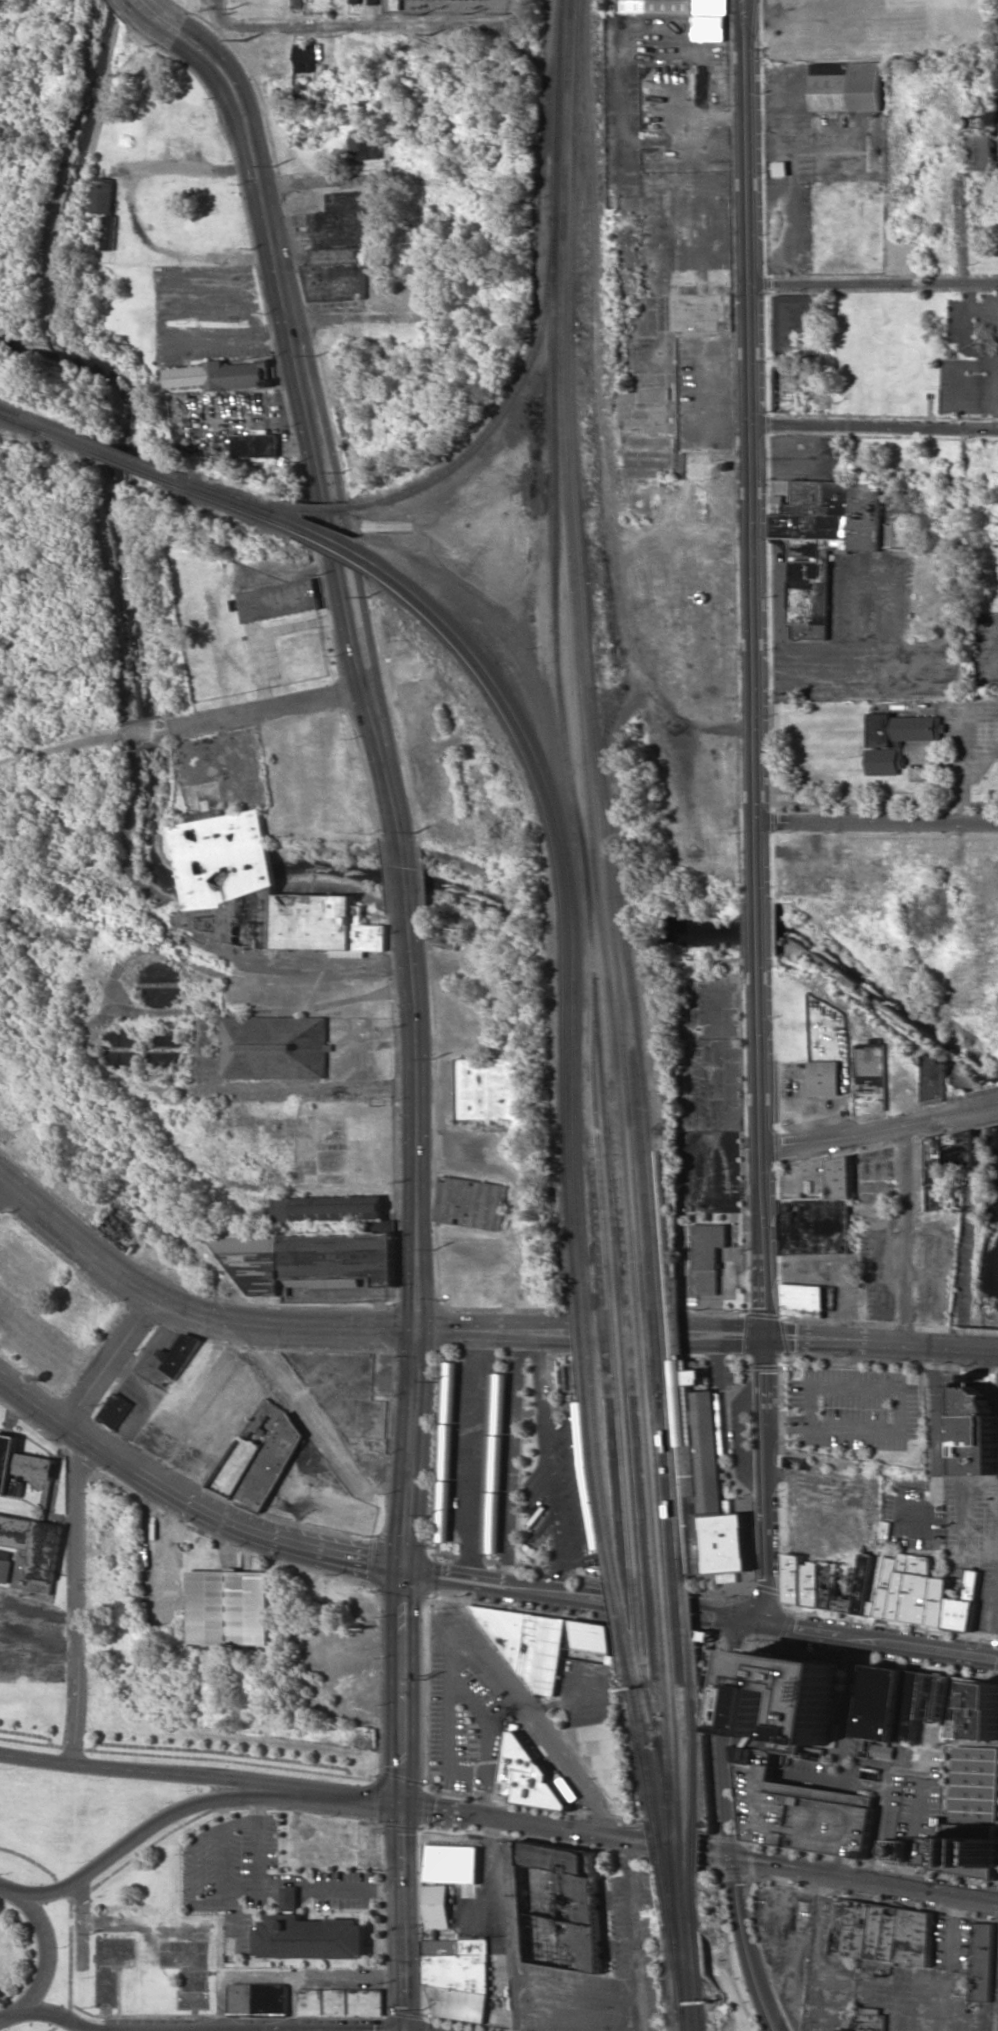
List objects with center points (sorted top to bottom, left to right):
building: (355, 1)
building: (373, 2)
power substation: (445, 6)
building: (658, 6)
building: (710, 20)
road: (357, 27)
road: (195, 46)
building: (303, 58)
building: (846, 86)
building: (358, 144)
building: (981, 151)
road: (506, 157)
building: (780, 168)
road: (382, 178)
road: (963, 196)
road: (133, 202)
building: (105, 210)
building: (337, 251)
road: (874, 284)
road: (278, 291)
road: (396, 318)
building: (793, 322)
building: (223, 375)
railway: (509, 404)
railway: (40, 421)
railway: (19, 422)
road: (874, 426)
railway: (38, 431)
building: (254, 446)
road: (750, 450)
railway: (131, 456)
railway: (128, 465)
railway: (246, 496)
railway: (240, 498)
railway: (238, 506)
railway: (326, 509)
road: (969, 530)
railway: (330, 536)
building: (816, 545)
railway: (332, 547)
building: (275, 601)
road: (360, 655)
road: (270, 706)
building: (899, 739)
road: (877, 823)
road: (960, 849)
railway: (570, 850)
railway: (562, 861)
road: (401, 876)
building: (227, 877)
railway: (599, 912)
railway: (608, 913)
railway: (618, 915)
building: (326, 926)
road: (759, 929)
building: (274, 1047)
building: (825, 1078)
building: (872, 1078)
building: (934, 1079)
building: (492, 1090)
road: (988, 1108)
road: (416, 1123)
road: (872, 1132)
road: (764, 1146)
building: (943, 1162)
road: (3, 1188)
building: (471, 1203)
building: (821, 1215)
road: (905, 1236)
building: (707, 1256)
building: (309, 1260)
building: (803, 1300)
road: (189, 1309)
railway: (616, 1329)
traffic signals: (418, 1333)
road: (450, 1333)
road: (500, 1334)
road: (546, 1335)
road: (722, 1335)
road: (877, 1342)
railway: (627, 1353)
building: (179, 1354)
road: (109, 1359)
building: (571, 1376)
road: (614, 1397)
building: (116, 1410)
building: (979, 1424)
road: (739, 1432)
road: (414, 1450)
building: (447, 1452)
road: (476, 1453)
building: (273, 1456)
road: (513, 1456)
building: (21, 1463)
building: (496, 1463)
building: (235, 1467)
road: (553, 1467)
building: (709, 1475)
road: (763, 1475)
road: (190, 1499)
railway: (602, 1524)
railway: (611, 1524)
building: (35, 1548)
railway: (693, 1560)
building: (5, 1566)
traffic signals: (406, 1568)
road: (449, 1568)
road: (418, 1571)
road: (489, 1575)
road: (452, 1583)
road: (557, 1584)
road: (493, 1588)
building: (882, 1589)
road: (558, 1599)
road: (78, 1600)
building: (229, 1607)
road: (722, 1608)
traffic signals: (750, 1612)
road: (744, 1619)
road: (717, 1623)
traffic signals: (739, 1626)
road: (874, 1631)
building: (548, 1644)
road: (868, 1645)
road: (656, 1679)
road: (690, 1684)
road: (403, 1686)
building: (779, 1698)
building: (926, 1708)
road: (722, 1741)
building: (605, 1755)
road: (206, 1758)
road: (152, 1771)
building: (531, 1777)
road: (353, 1799)
traffic signals: (403, 1805)
building: (798, 1811)
parking garage: (798, 1811)
road: (448, 1812)
building: (971, 1815)
road: (151, 1824)
railway: (673, 1833)
railway: (674, 1833)
railway: (660, 1834)
railway: (661, 1834)
road: (614, 1838)
railway: (684, 1846)
railway: (695, 1849)
railway: (674, 1854)
building: (461, 1855)
railway: (664, 1855)
traffic signals: (735, 1858)
railway: (666, 1870)
railway: (675, 1879)
road: (866, 1879)
railway: (686, 1889)
road: (8, 1890)
railway: (696, 1899)
railway: (671, 1904)
building: (563, 1906)
building: (439, 1907)
railway: (677, 1915)
road: (403, 1918)
road: (509, 1924)
railway: (688, 1931)
road: (632, 1932)
building: (882, 1932)
building: (308, 1934)
railway: (697, 1935)
road: (745, 1946)
railway: (699, 1955)
road: (47, 1962)
building: (982, 1962)
railway: (680, 1971)
railway: (682, 1974)
building: (459, 1977)
railway: (692, 1991)
building: (258, 1999)
railway: (702, 1999)
building: (340, 2002)
road: (53, 2014)
road: (575, 2018)
building: (869, 2019)
railway: (685, 2021)

